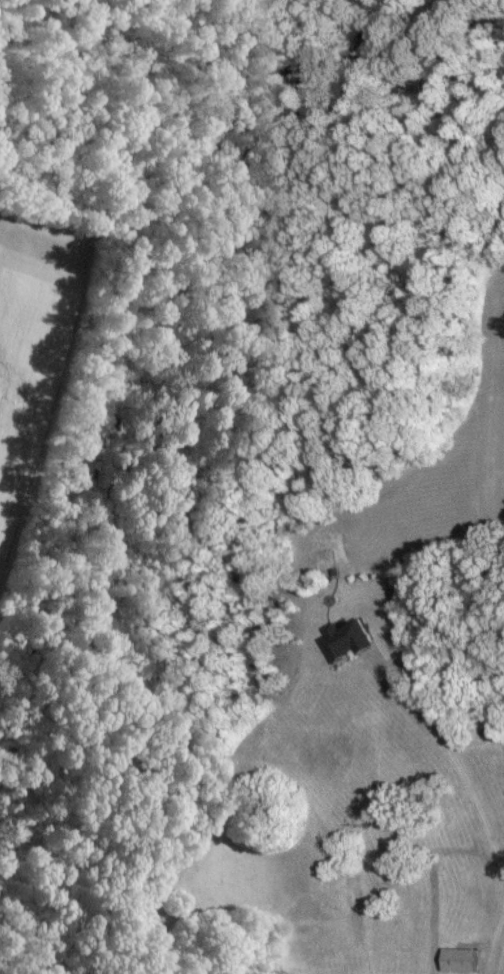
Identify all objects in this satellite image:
building: (343, 639)
road: (456, 756)
road: (502, 895)
road: (499, 900)
building: (455, 958)

